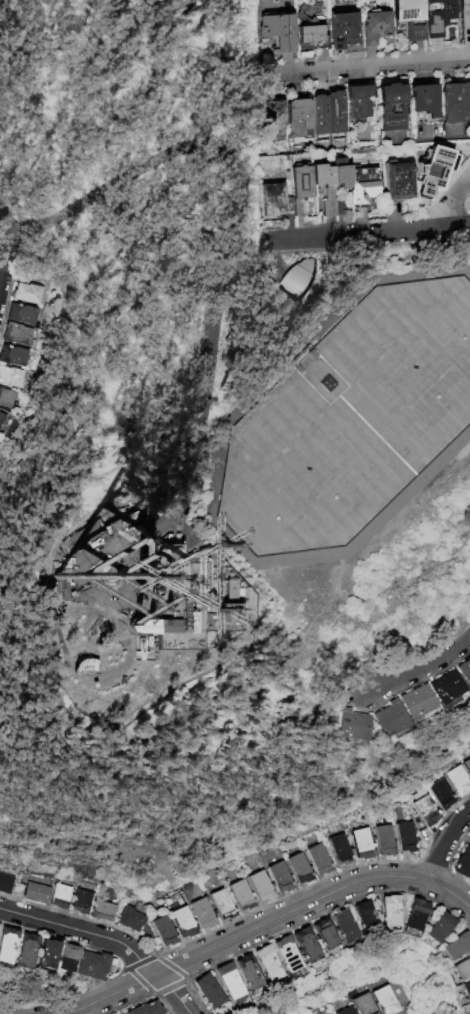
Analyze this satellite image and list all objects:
building: (264, 2)
building: (410, 18)
building: (440, 19)
building: (465, 20)
building: (376, 26)
building: (343, 30)
building: (278, 32)
building: (313, 36)
road: (363, 68)
building: (425, 101)
building: (360, 102)
building: (393, 108)
building: (456, 109)
building: (336, 113)
building: (320, 115)
building: (299, 118)
building: (272, 120)
road: (427, 141)
road: (154, 162)
building: (341, 174)
building: (434, 175)
building: (397, 182)
building: (363, 187)
building: (325, 188)
building: (301, 189)
building: (275, 201)
road: (448, 204)
road: (2, 216)
road: (448, 228)
road: (344, 236)
road: (250, 244)
road: (5, 249)
building: (296, 279)
building: (27, 293)
building: (21, 314)
road: (325, 324)
building: (16, 334)
road: (216, 343)
building: (13, 356)
building: (10, 377)
building: (6, 398)
building: (1, 418)
road: (207, 444)
road: (191, 454)
building: (199, 464)
road: (408, 492)
road: (182, 494)
building: (124, 515)
building: (129, 520)
building: (77, 538)
road: (239, 547)
building: (58, 565)
building: (66, 575)
road: (343, 575)
road: (409, 575)
road: (4, 588)
building: (229, 591)
building: (184, 603)
building: (78, 665)
building: (465, 670)
road: (421, 671)
building: (447, 687)
building: (418, 703)
building: (391, 720)
building: (353, 726)
building: (468, 765)
building: (460, 782)
building: (444, 796)
building: (428, 811)
building: (405, 838)
building: (385, 841)
road: (442, 842)
building: (362, 844)
building: (340, 851)
building: (319, 860)
building: (464, 865)
building: (299, 869)
building: (280, 878)
building: (5, 884)
building: (262, 887)
building: (35, 894)
building: (60, 896)
building: (241, 896)
building: (81, 902)
building: (222, 905)
building: (102, 910)
building: (391, 912)
building: (203, 914)
building: (416, 916)
building: (365, 917)
building: (130, 920)
building: (184, 923)
road: (264, 923)
building: (344, 926)
building: (440, 929)
building: (164, 932)
building: (325, 935)
road: (108, 939)
building: (6, 942)
building: (307, 946)
building: (457, 947)
building: (25, 949)
building: (46, 952)
building: (288, 955)
building: (66, 956)
building: (93, 964)
building: (268, 964)
building: (462, 970)
building: (249, 973)
building: (229, 981)
building: (466, 991)
building: (208, 992)
building: (386, 1001)
building: (365, 1005)
building: (469, 1008)
building: (148, 1009)
building: (347, 1011)

